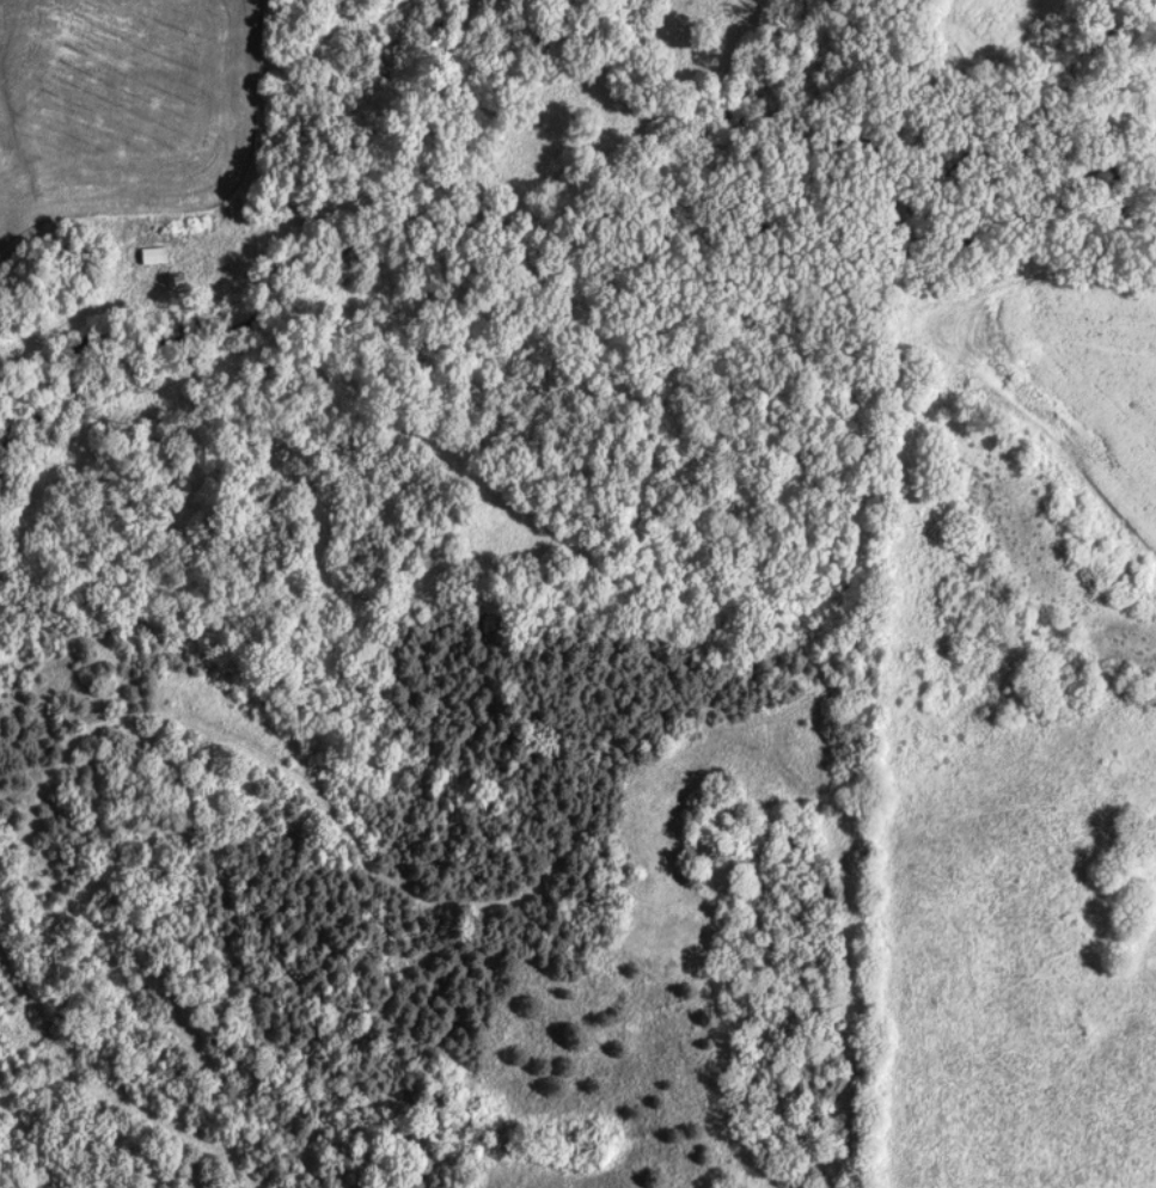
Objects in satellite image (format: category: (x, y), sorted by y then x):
road: (1138, 874)

